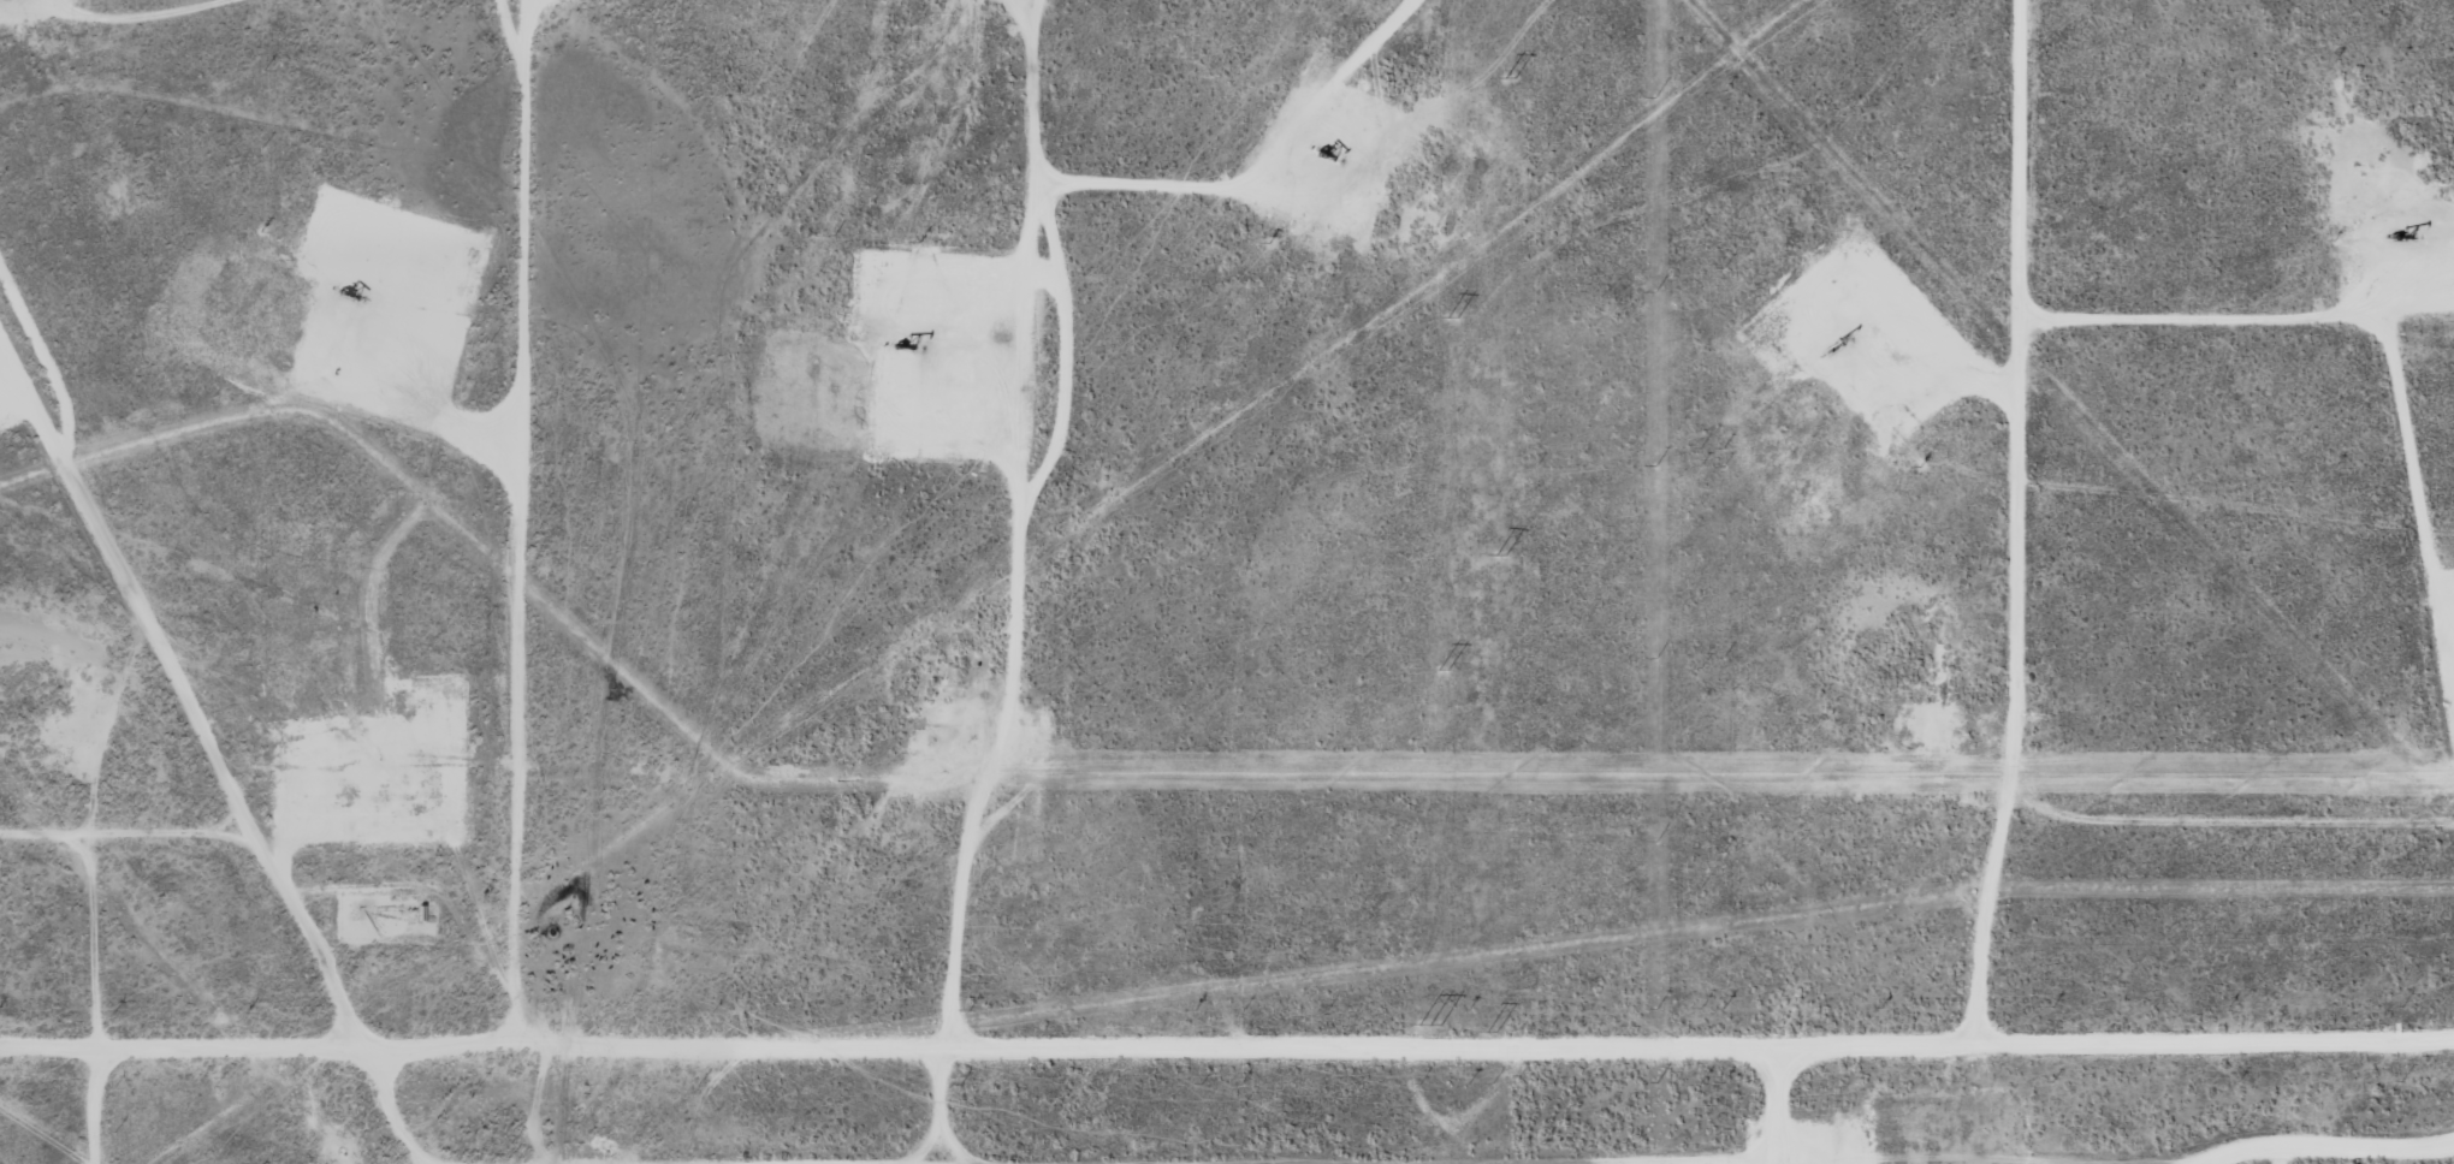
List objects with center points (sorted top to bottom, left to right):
power tower: (1505, 77)
power tower: (1451, 319)
road: (2010, 521)
road: (561, 522)
road: (1021, 523)
power tower: (1501, 557)
road: (126, 593)
power tower: (1441, 671)
road: (2234, 844)
road: (277, 896)
road: (138, 1008)
power tower: (1429, 1025)
power tower: (1489, 1032)
road: (1226, 1040)
road: (1760, 1104)

